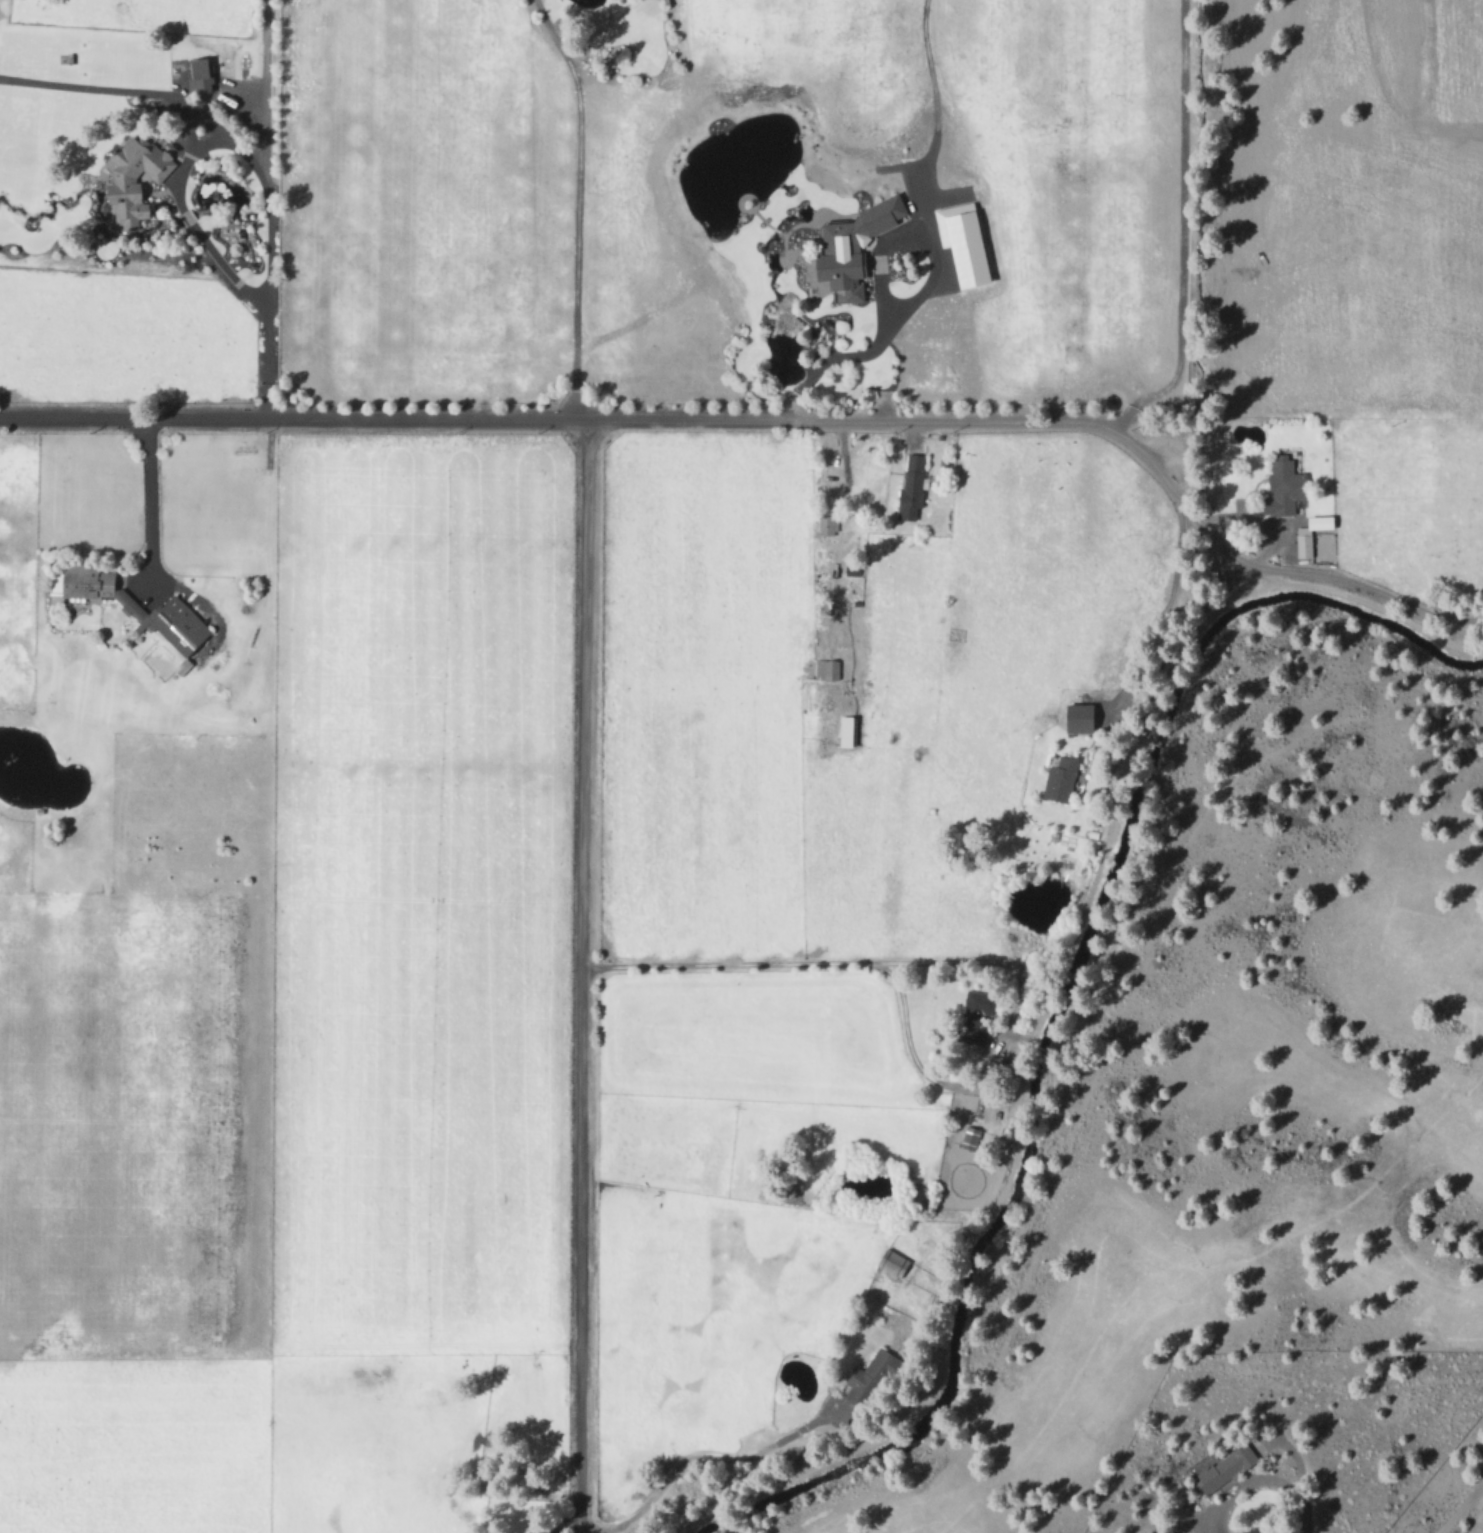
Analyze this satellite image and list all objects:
building: (203, 76)
building: (127, 180)
crop: (751, 202)
building: (968, 241)
road: (580, 245)
building: (849, 248)
road: (775, 418)
building: (914, 485)
building: (1279, 487)
building: (1315, 522)
building: (828, 523)
building: (1300, 542)
road: (846, 558)
building: (144, 610)
building: (828, 668)
building: (1073, 718)
building: (849, 730)
building: (1054, 780)
crop: (476, 927)
road: (830, 962)
road: (587, 975)
building: (980, 1014)
road: (1317, 1089)
building: (971, 1136)
building: (871, 1377)
building: (1230, 1466)

